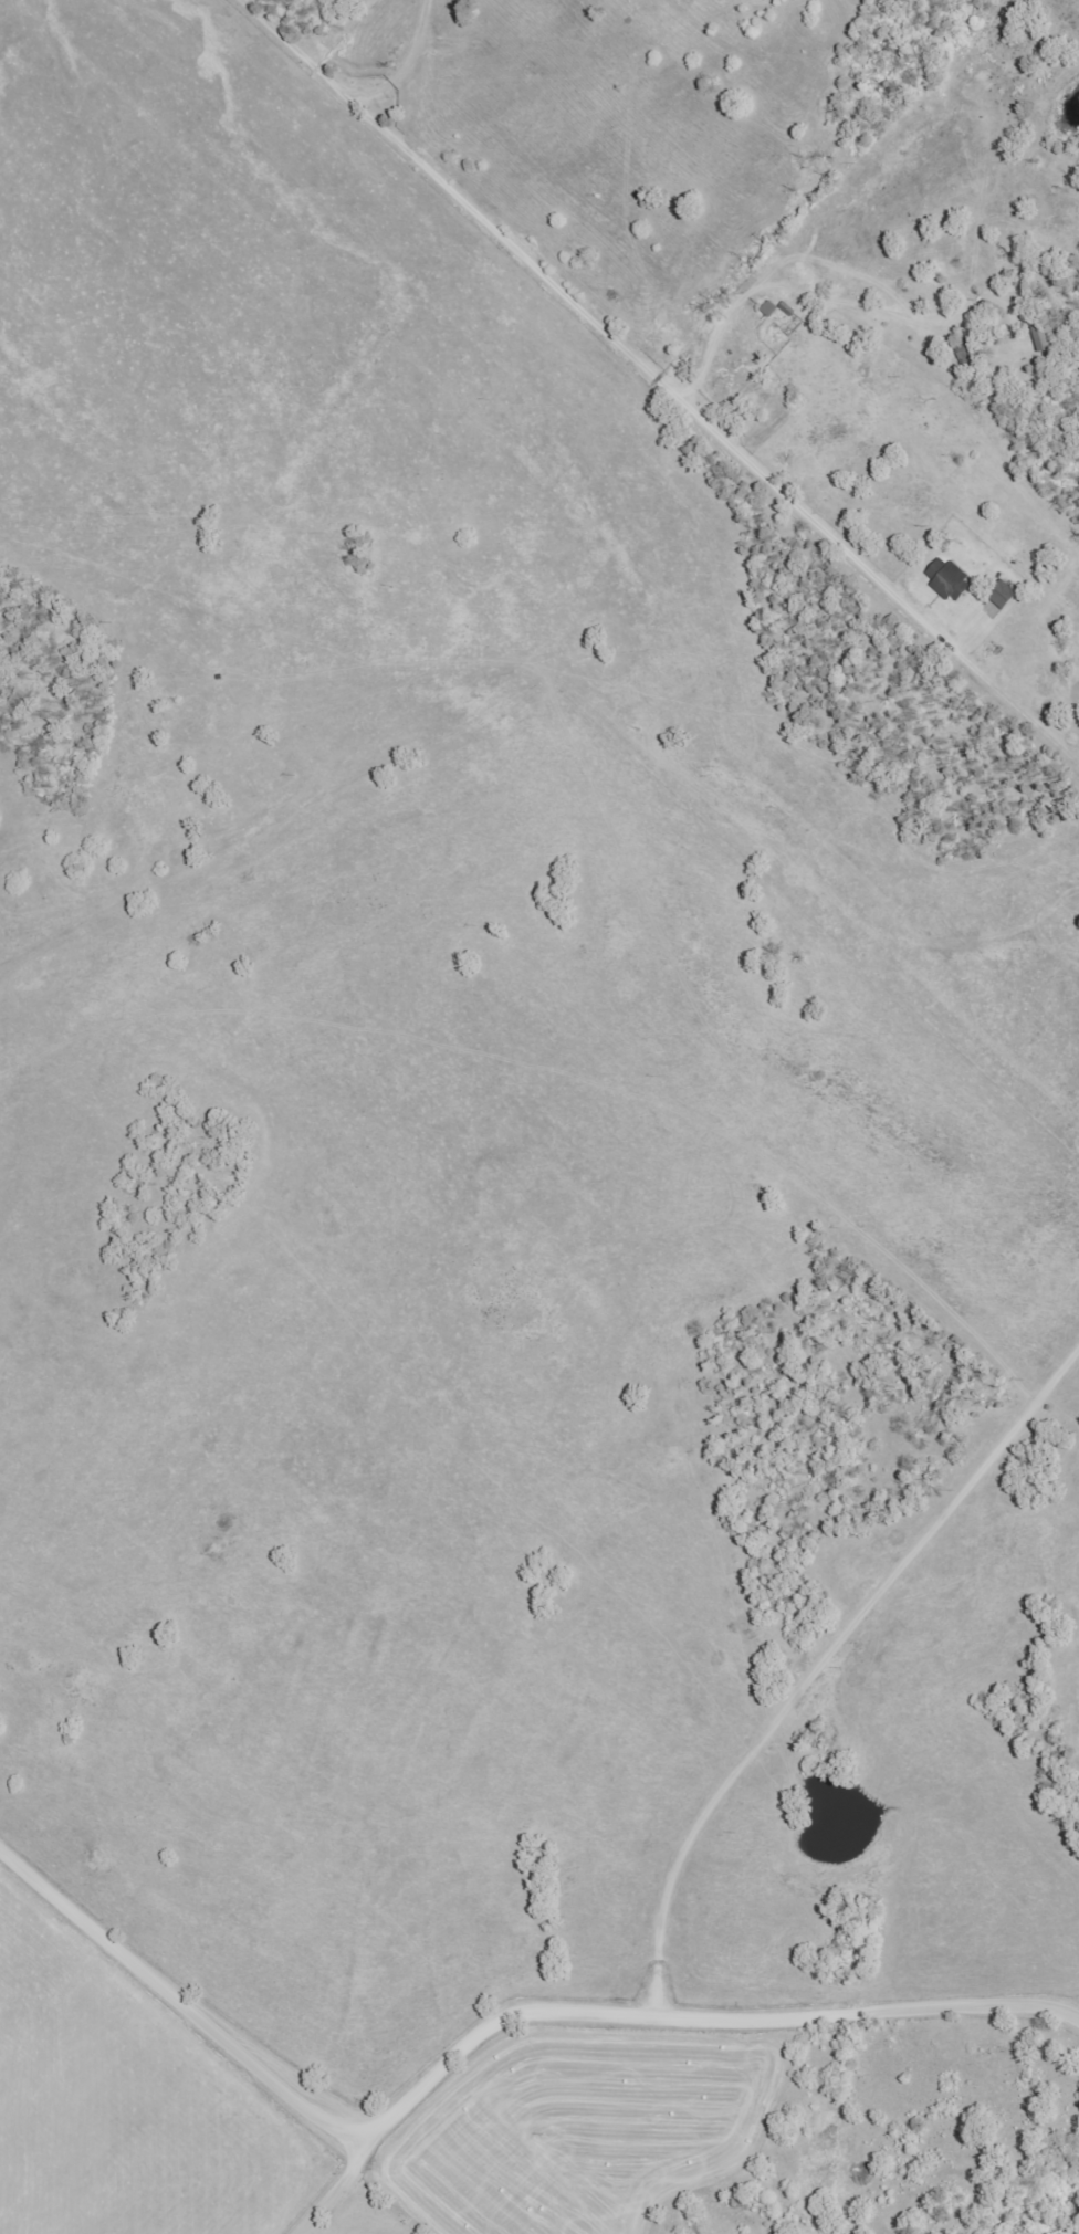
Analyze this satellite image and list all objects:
building: (766, 310)
road: (722, 329)
building: (945, 580)
building: (999, 595)
road: (179, 1992)
road: (705, 2014)
road: (333, 2181)

